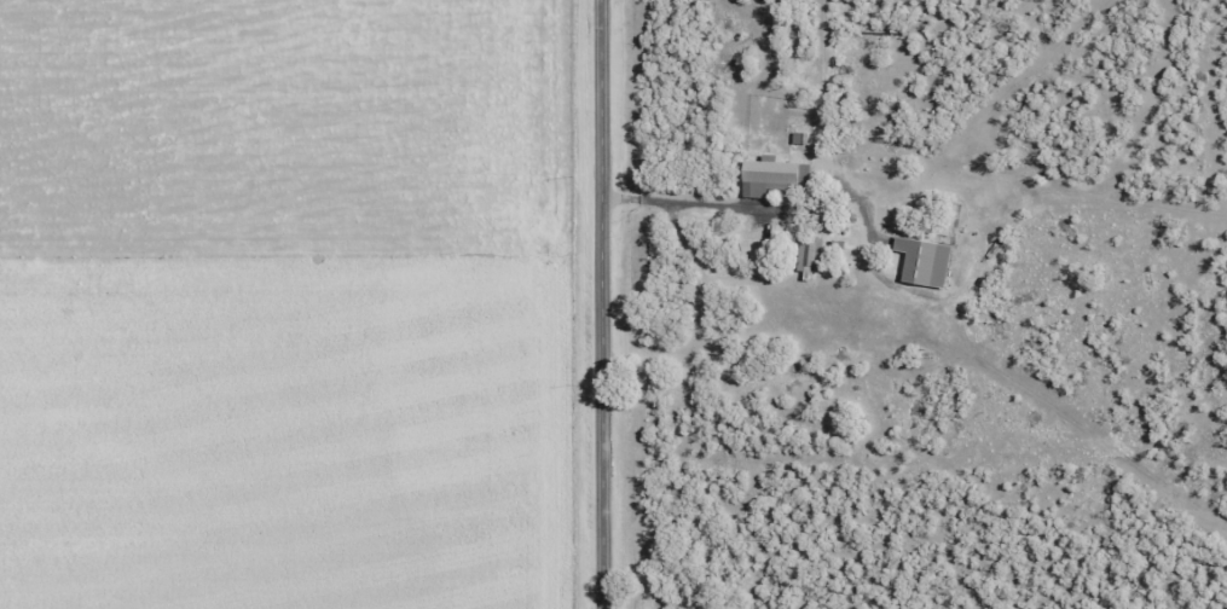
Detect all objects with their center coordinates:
building: (770, 176)
road: (693, 210)
building: (808, 255)
building: (922, 262)
road: (301, 292)
road: (602, 303)

